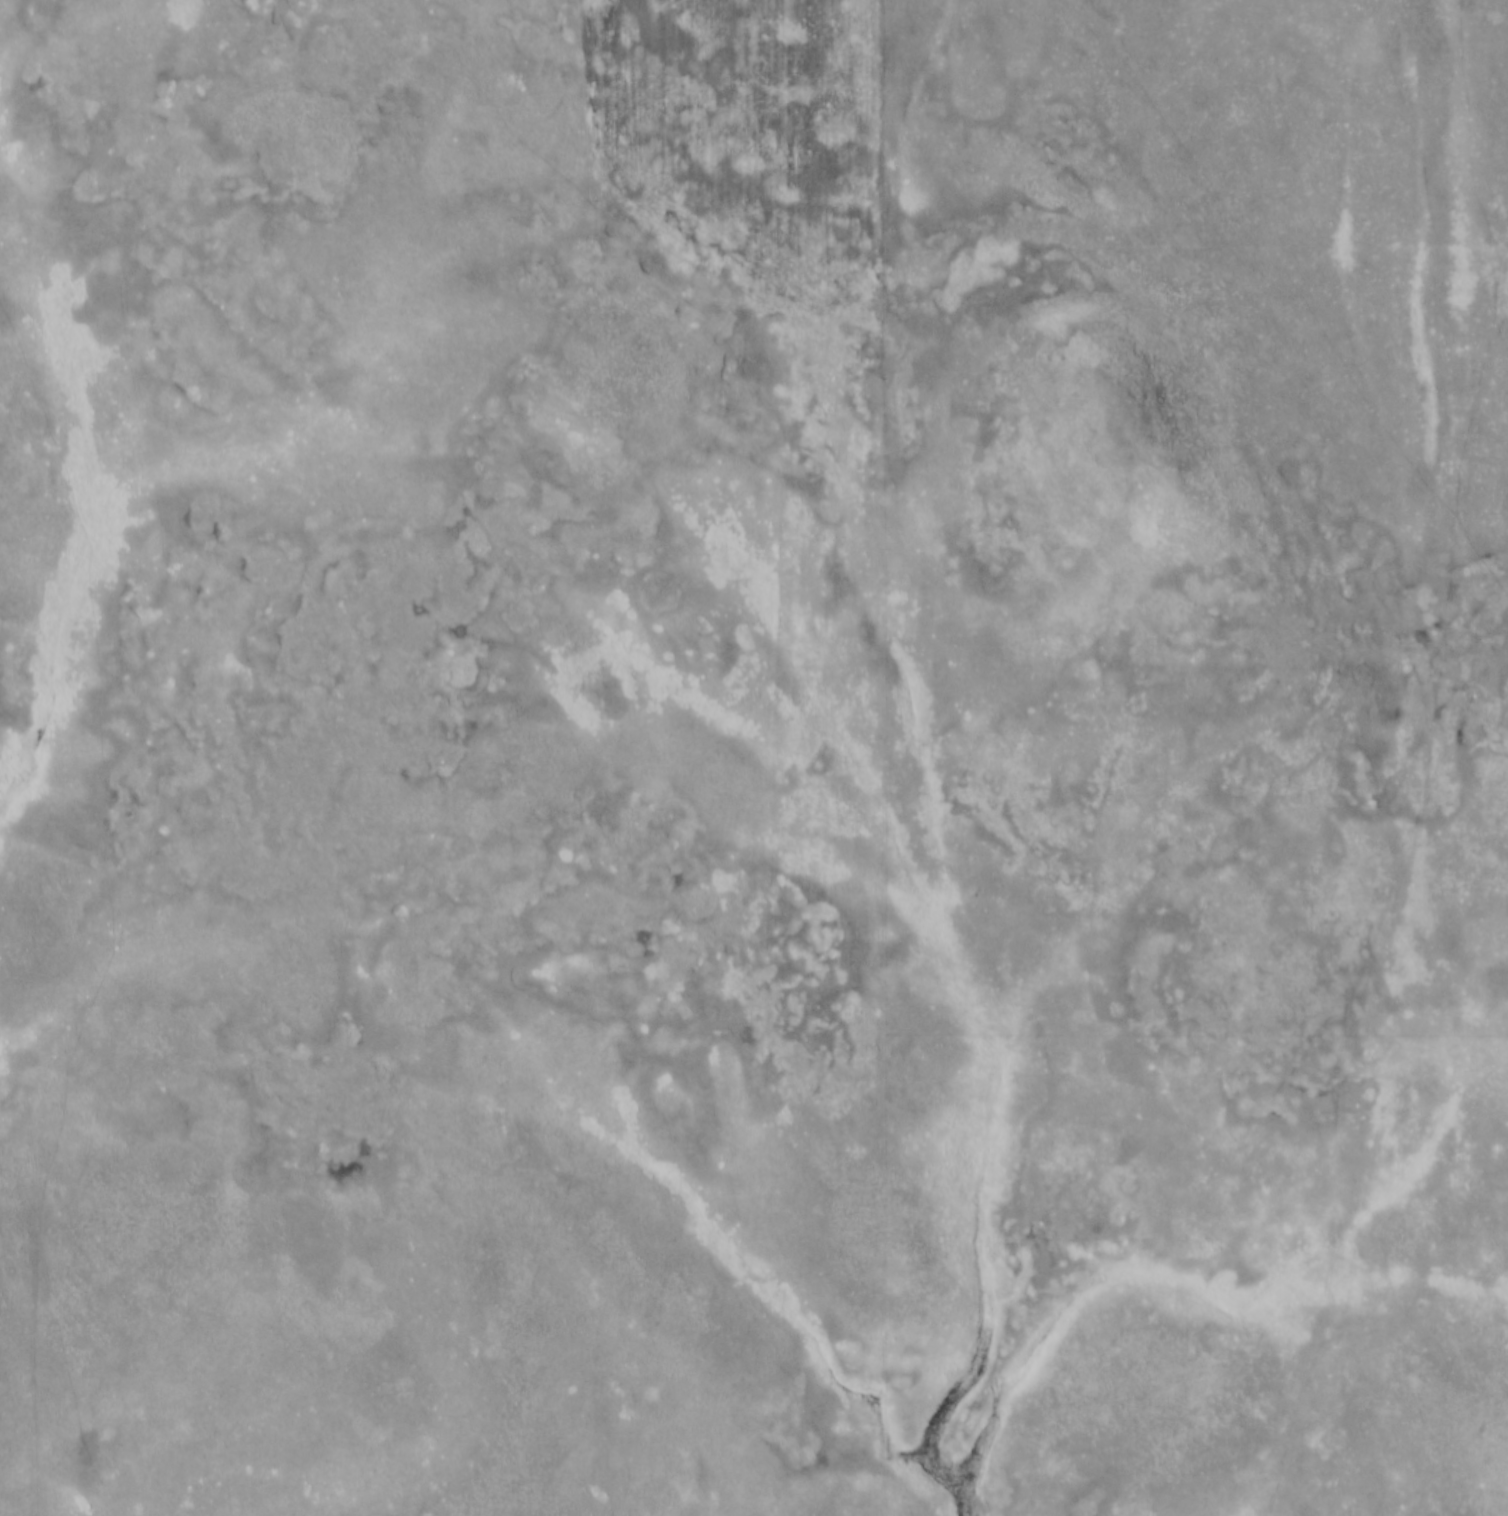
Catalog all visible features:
road: (117, 228)
road: (887, 757)

